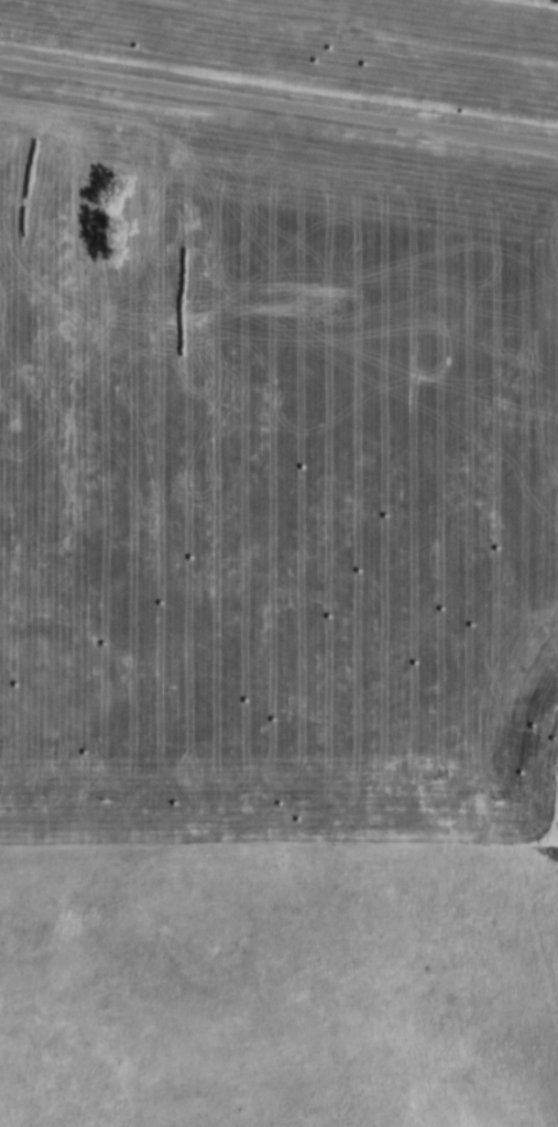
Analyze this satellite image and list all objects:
building: (261, 468)

